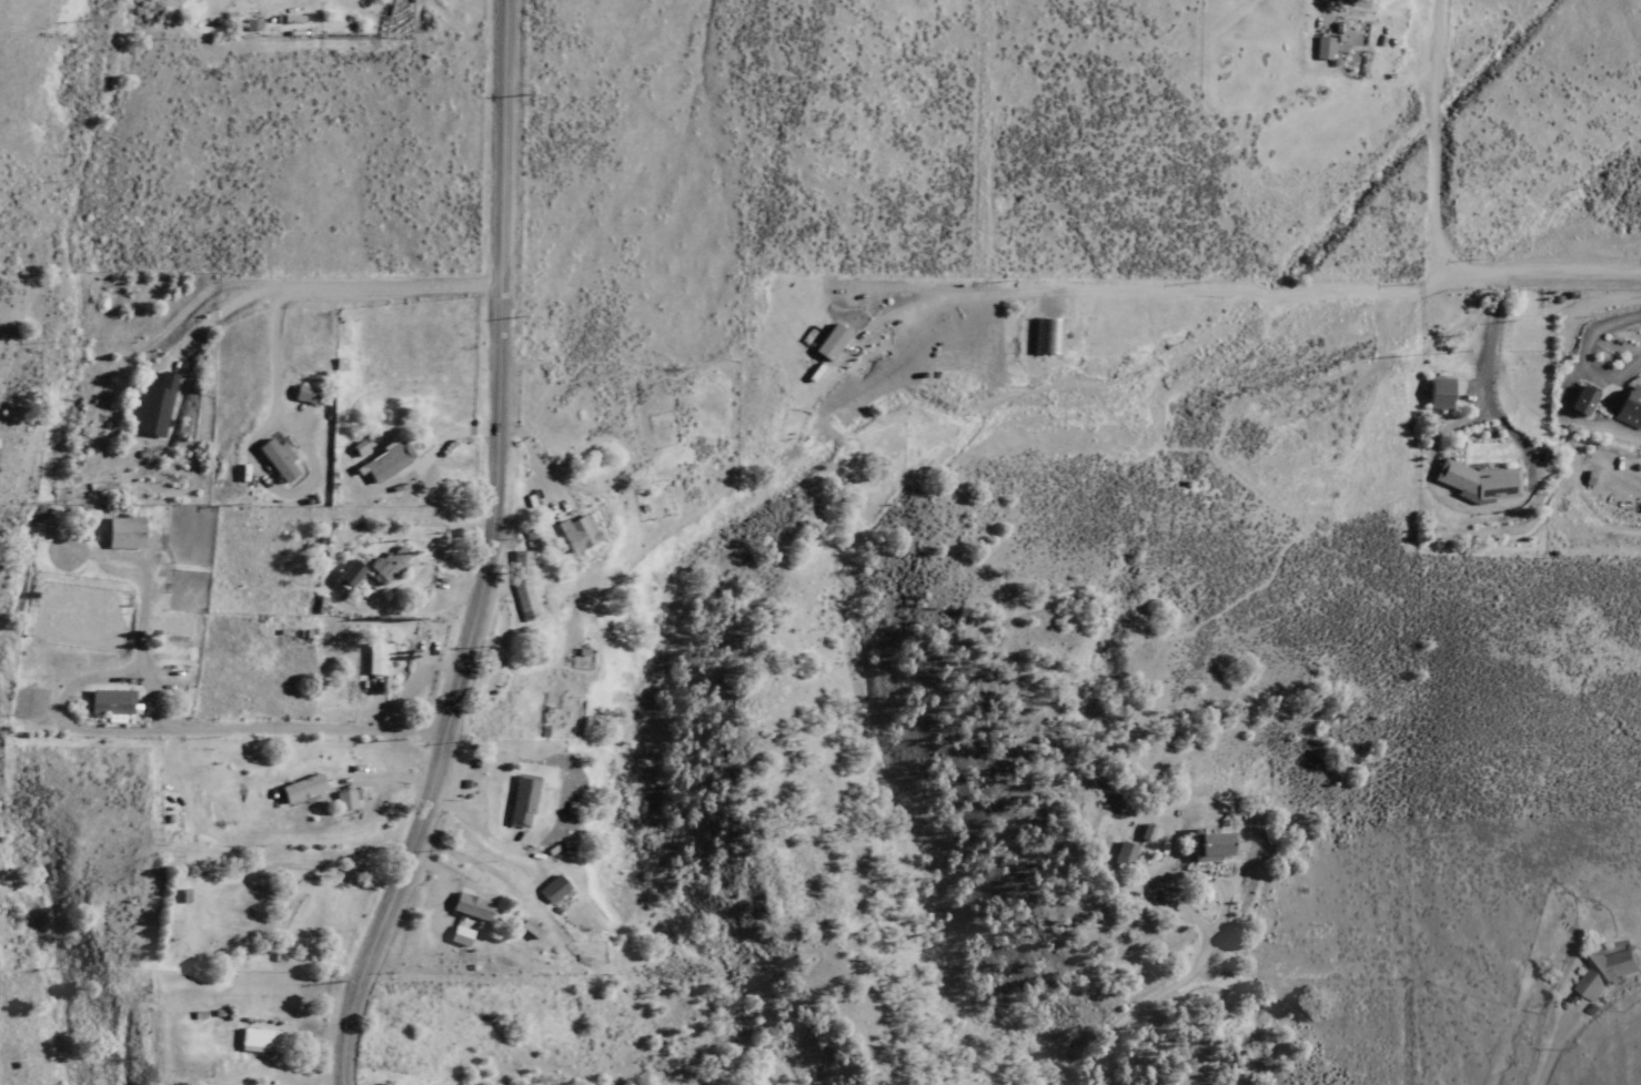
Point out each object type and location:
building: (1322, 48)
road: (1430, 152)
road: (1562, 272)
road: (303, 277)
road: (271, 329)
building: (1048, 336)
road: (1487, 375)
building: (301, 394)
building: (1438, 394)
building: (1581, 402)
building: (155, 406)
building: (1629, 406)
building: (273, 458)
building: (381, 462)
building: (1477, 480)
building: (122, 533)
building: (578, 533)
road: (483, 552)
building: (390, 561)
building: (346, 574)
building: (375, 659)
building: (108, 704)
building: (300, 789)
building: (344, 800)
building: (522, 802)
building: (1212, 845)
building: (1121, 855)
building: (556, 892)
building: (471, 906)
building: (461, 936)
building: (1608, 969)
building: (260, 1037)
building: (1236, 1056)

